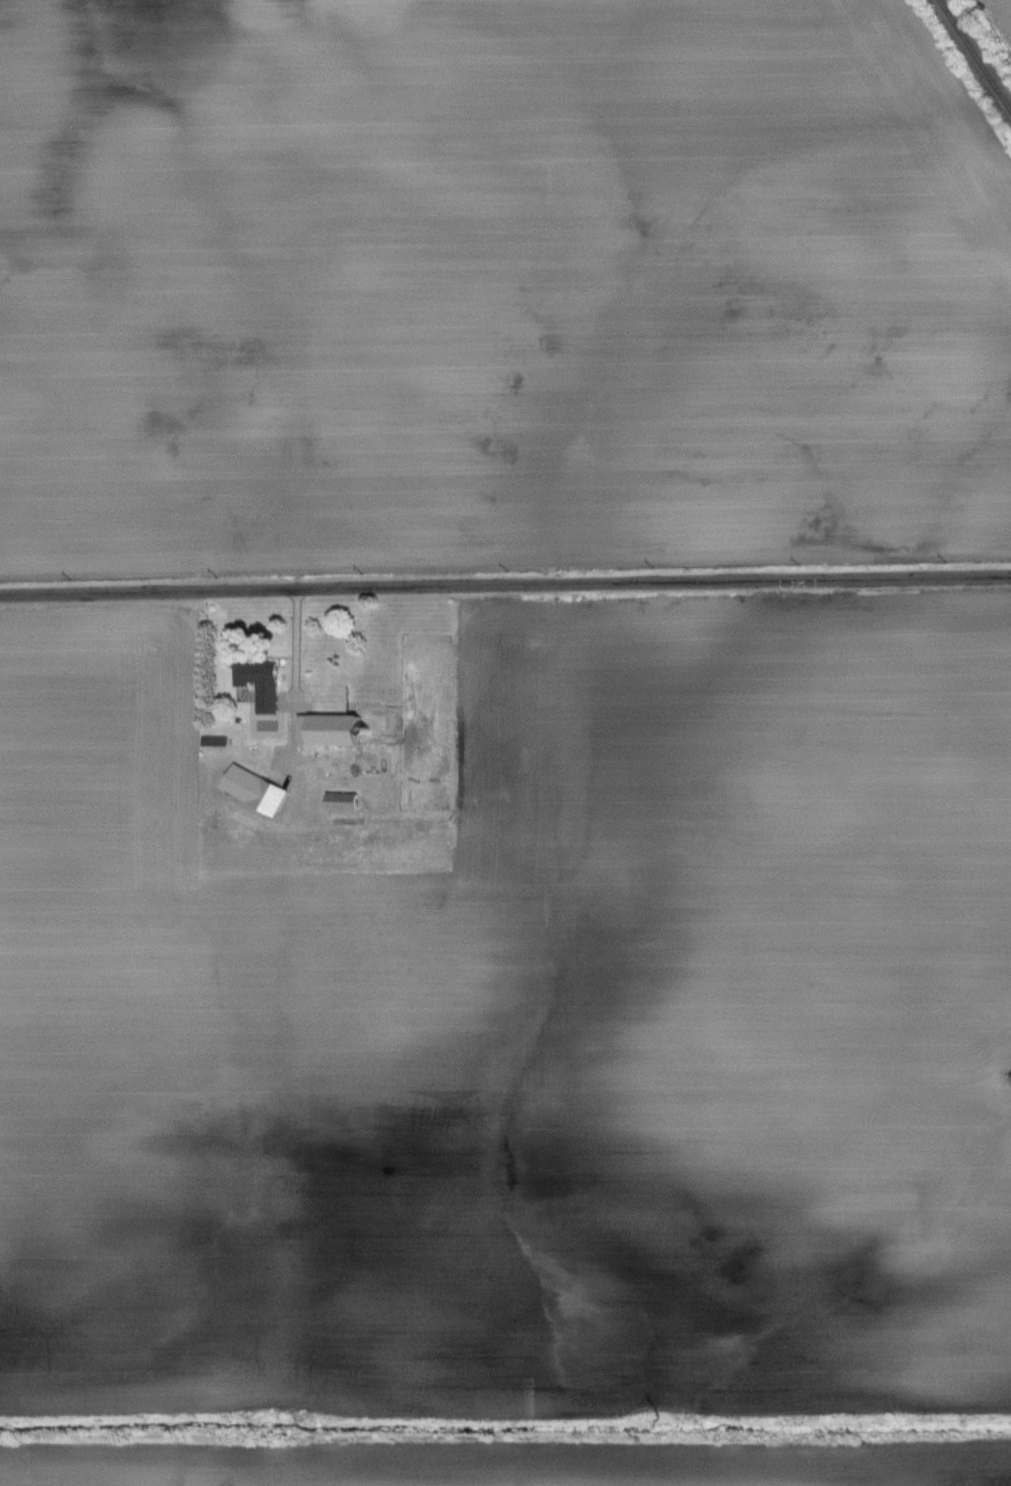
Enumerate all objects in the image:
crop: (997, 21)
railway: (978, 49)
road: (505, 586)
road: (293, 677)
building: (261, 683)
building: (331, 730)
building: (282, 767)
building: (343, 802)

